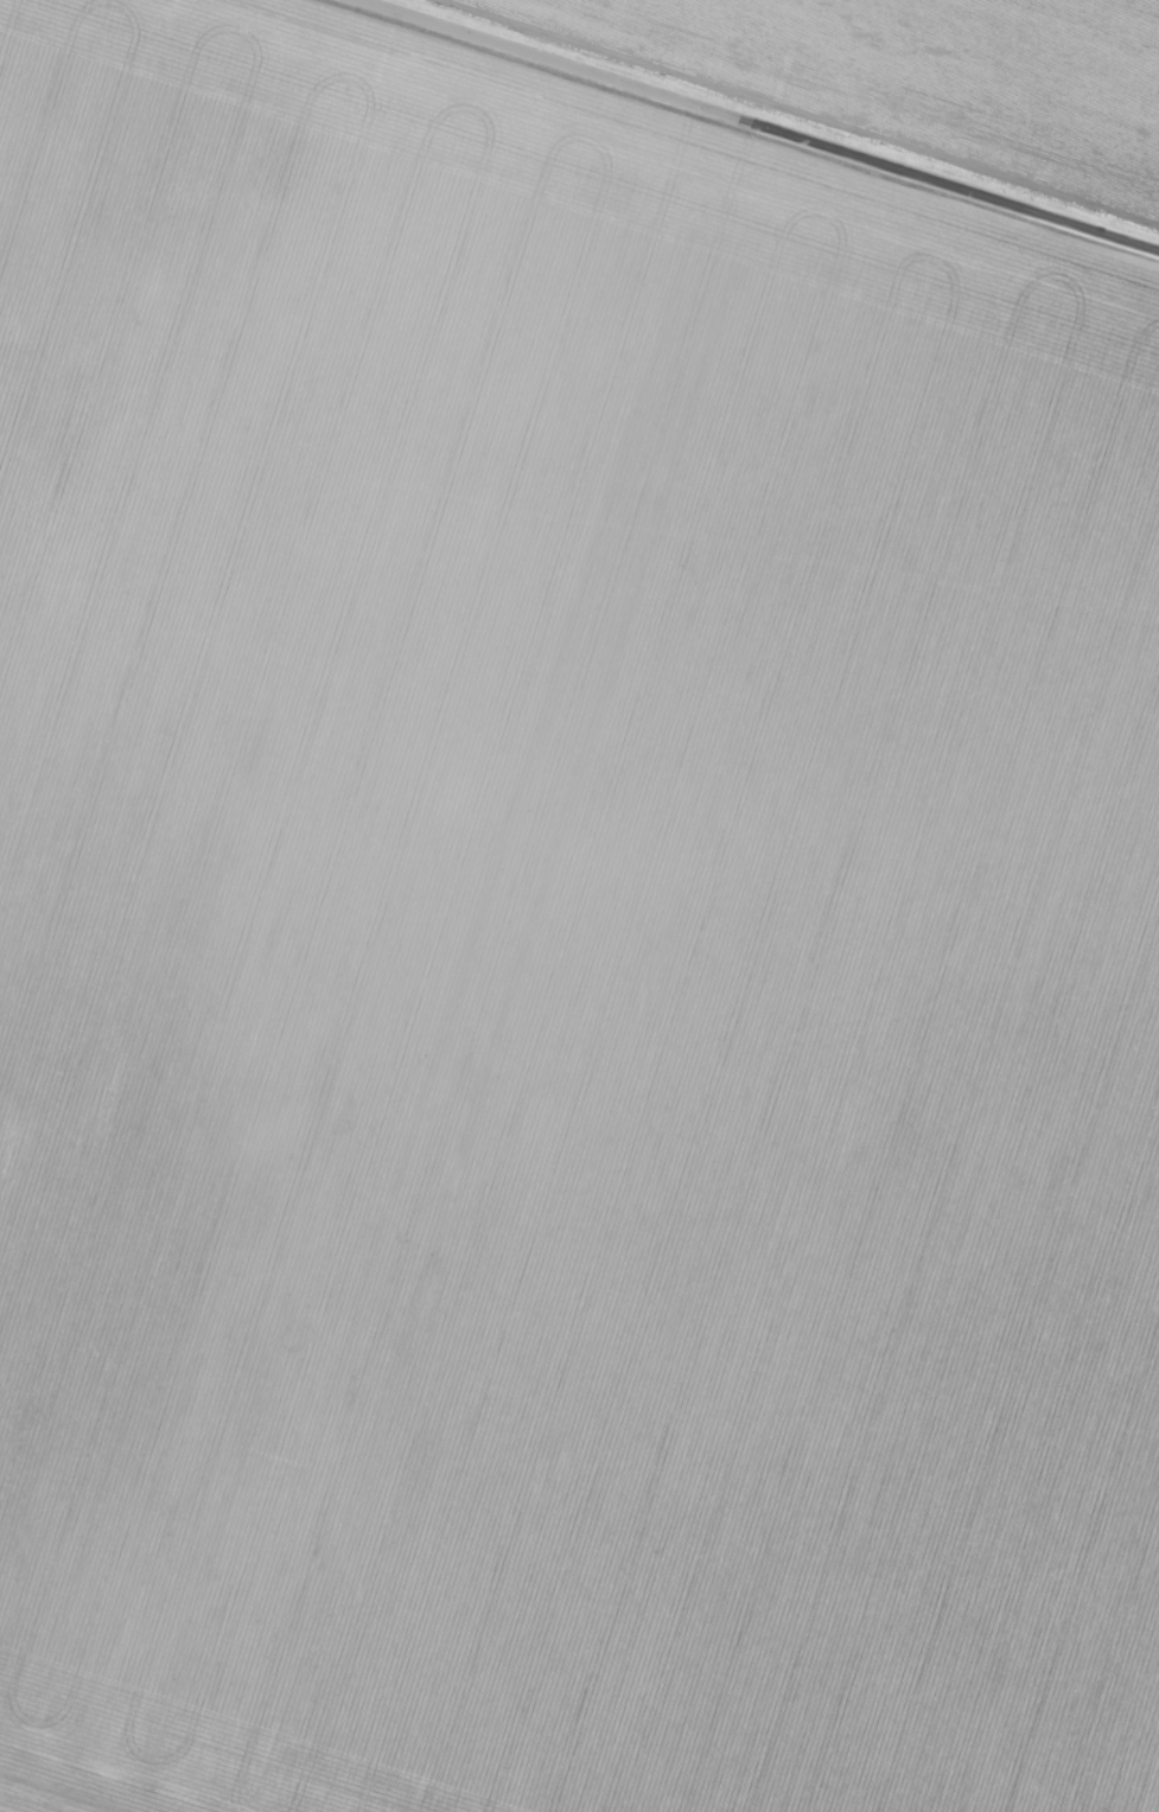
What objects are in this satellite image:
road: (790, 116)

